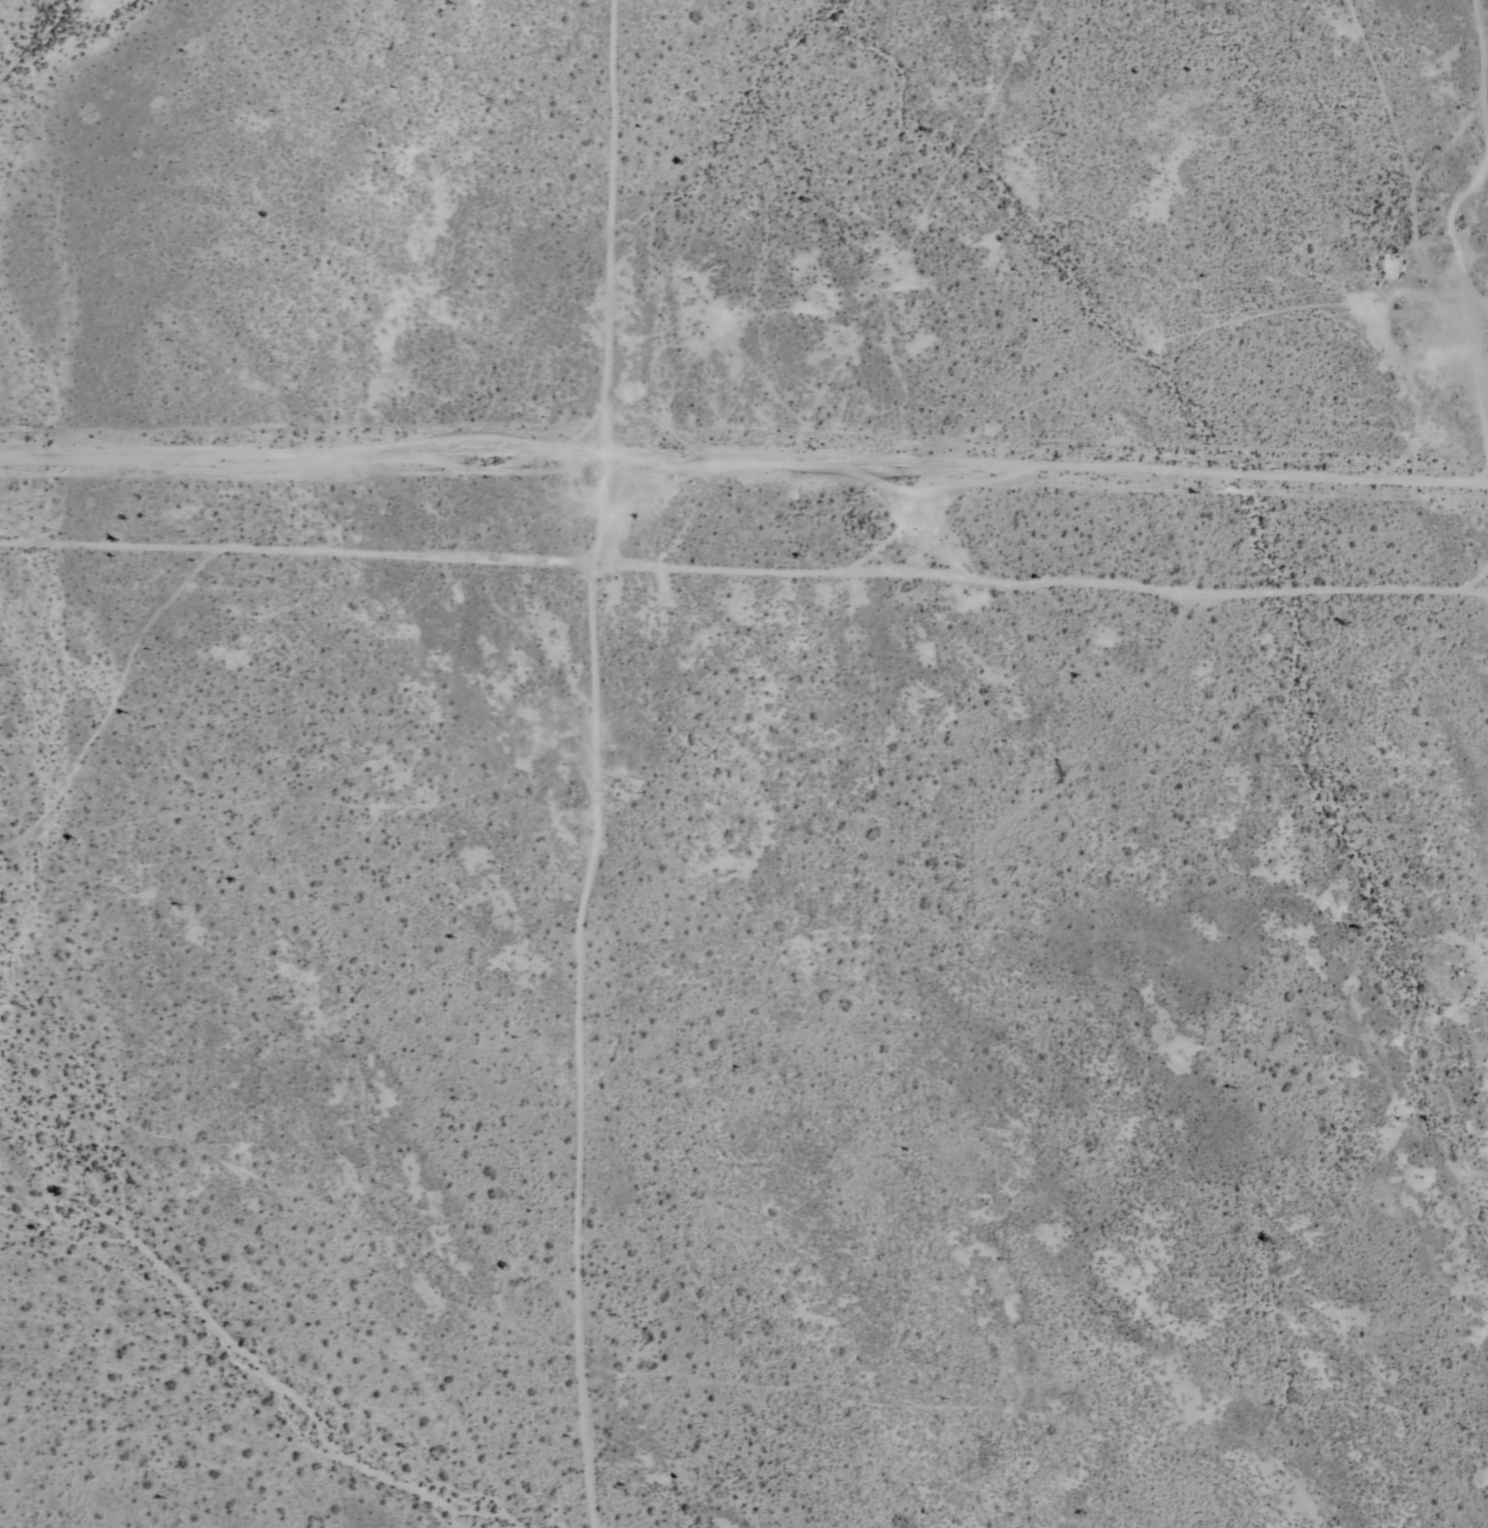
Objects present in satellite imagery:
road: (608, 282)
road: (744, 570)

